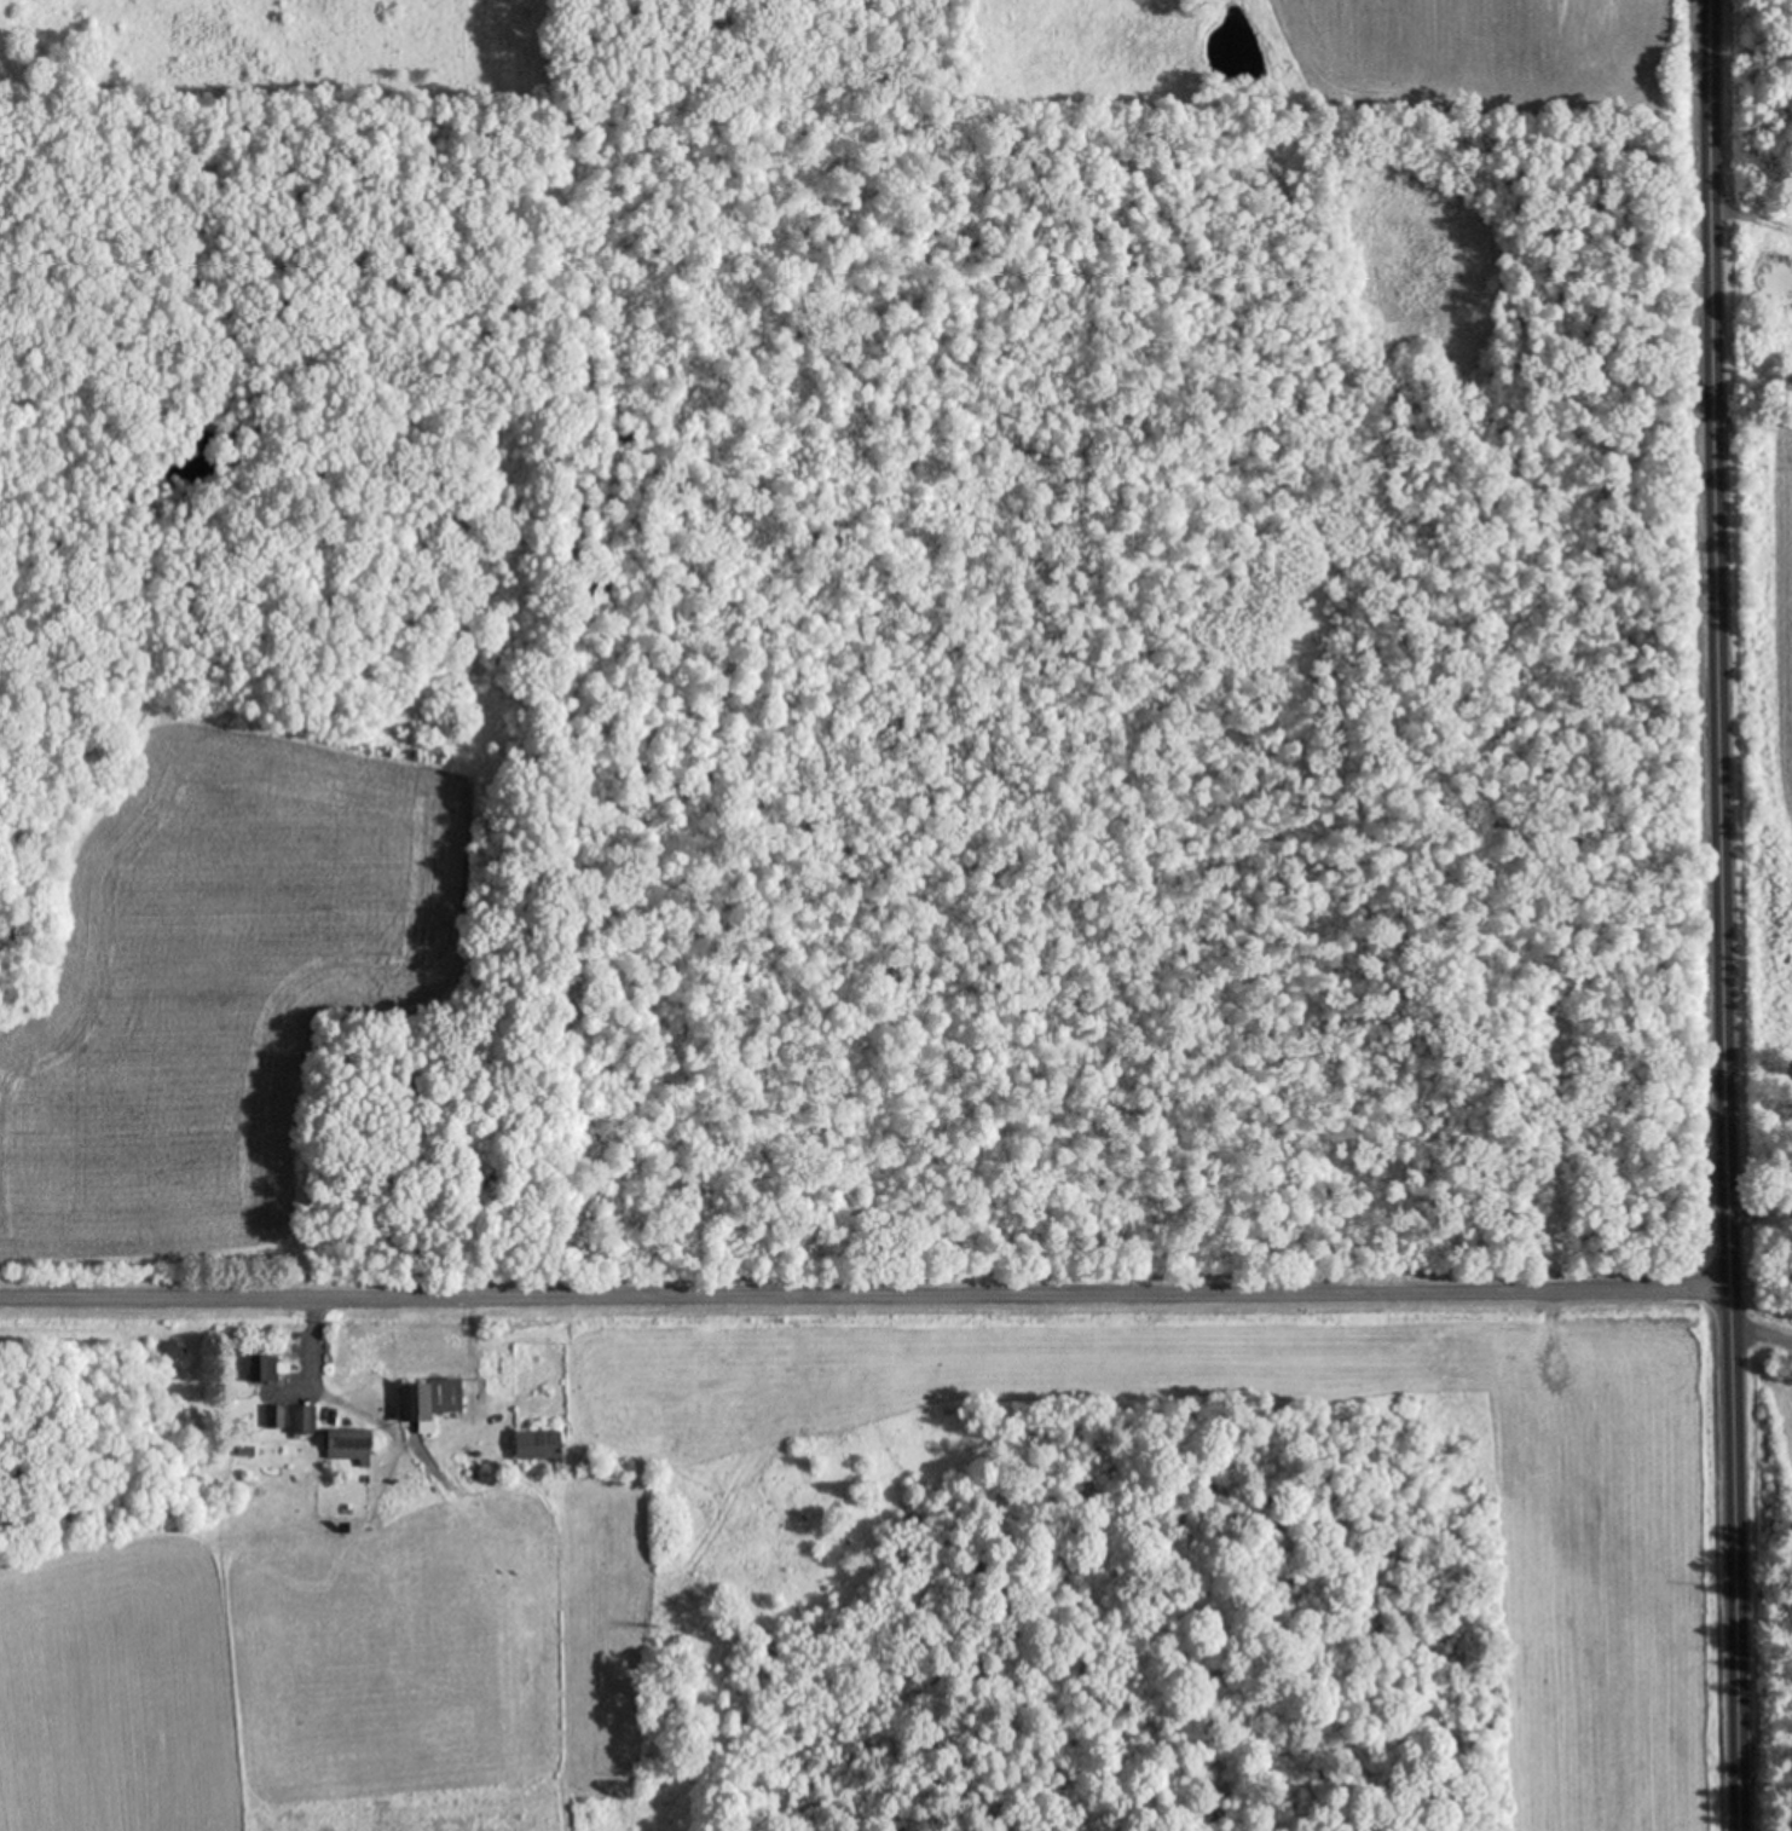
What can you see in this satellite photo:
road: (1752, 221)
road: (1722, 915)
road: (863, 1299)
building: (260, 1370)
building: (427, 1402)
building: (273, 1419)
building: (301, 1421)
building: (347, 1448)
building: (536, 1448)

